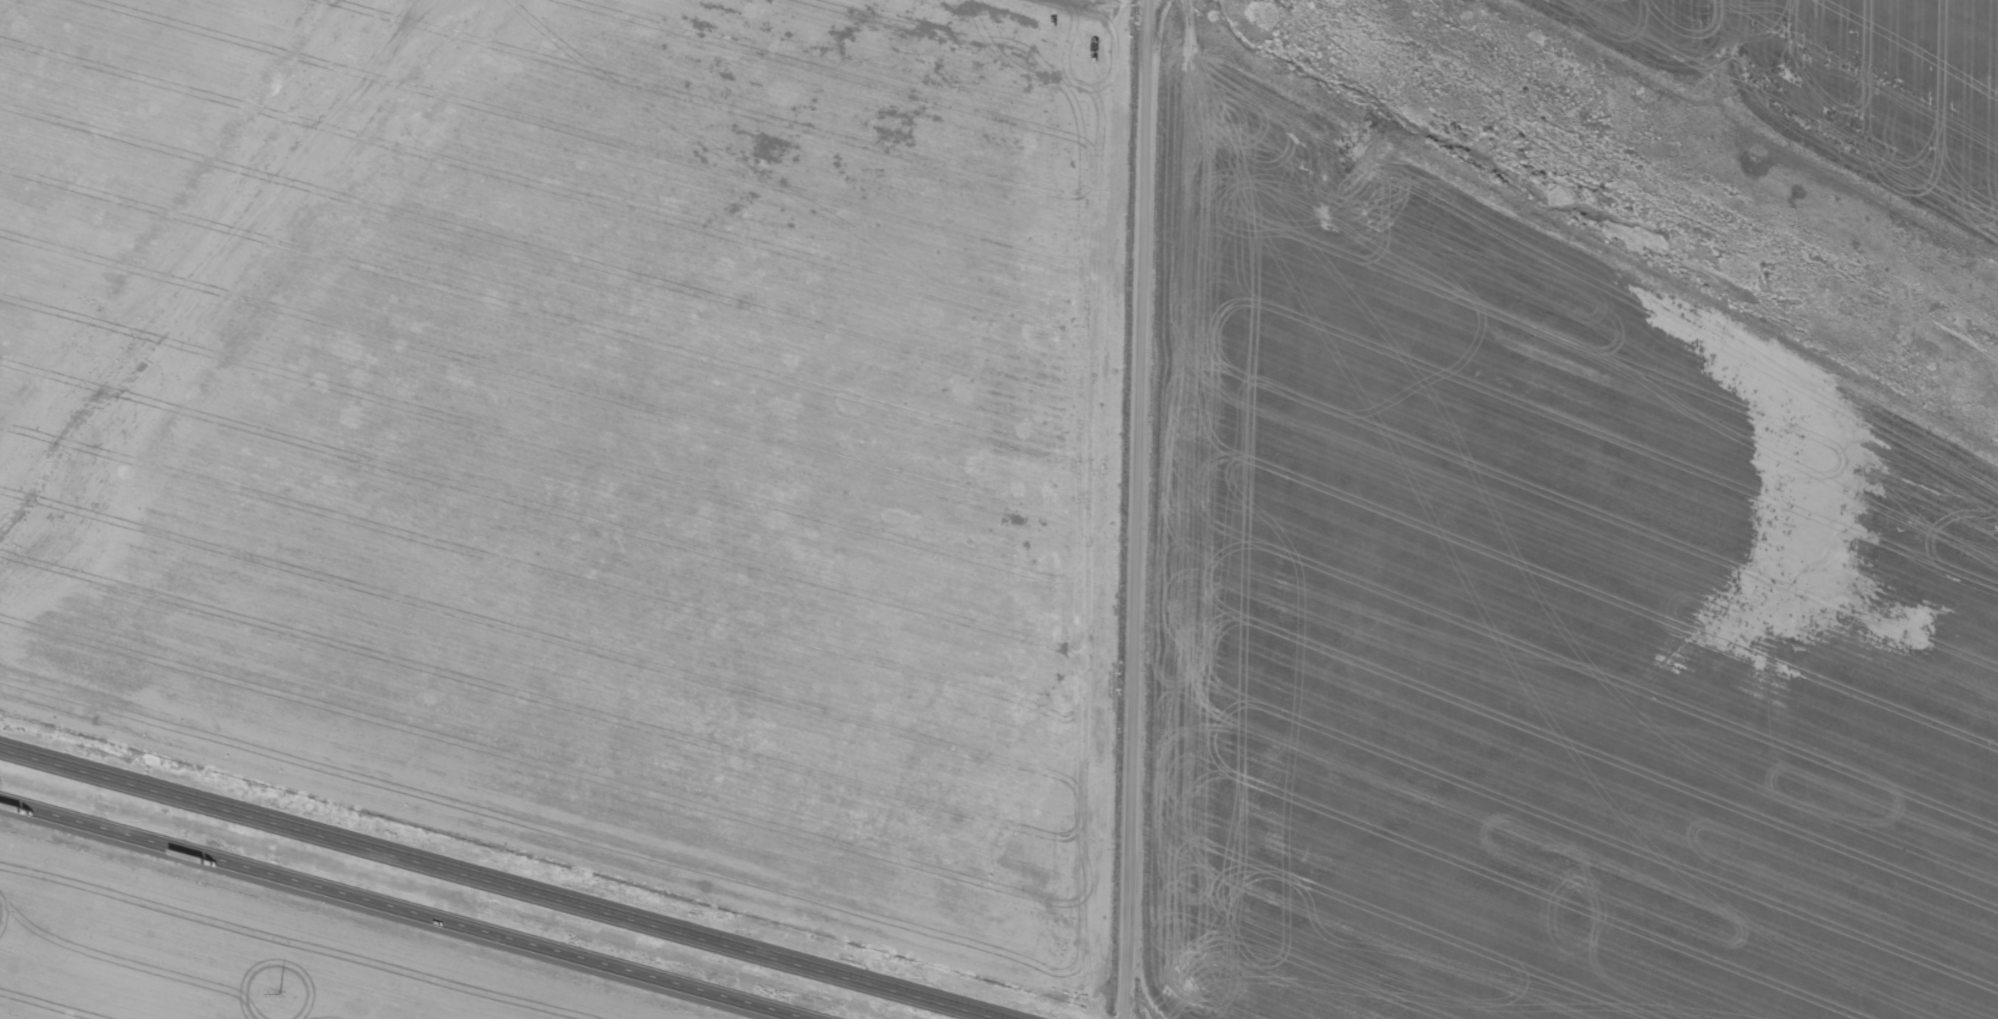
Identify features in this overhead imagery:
road: (1139, 509)
road: (502, 882)
road: (390, 912)
power tower: (273, 998)

